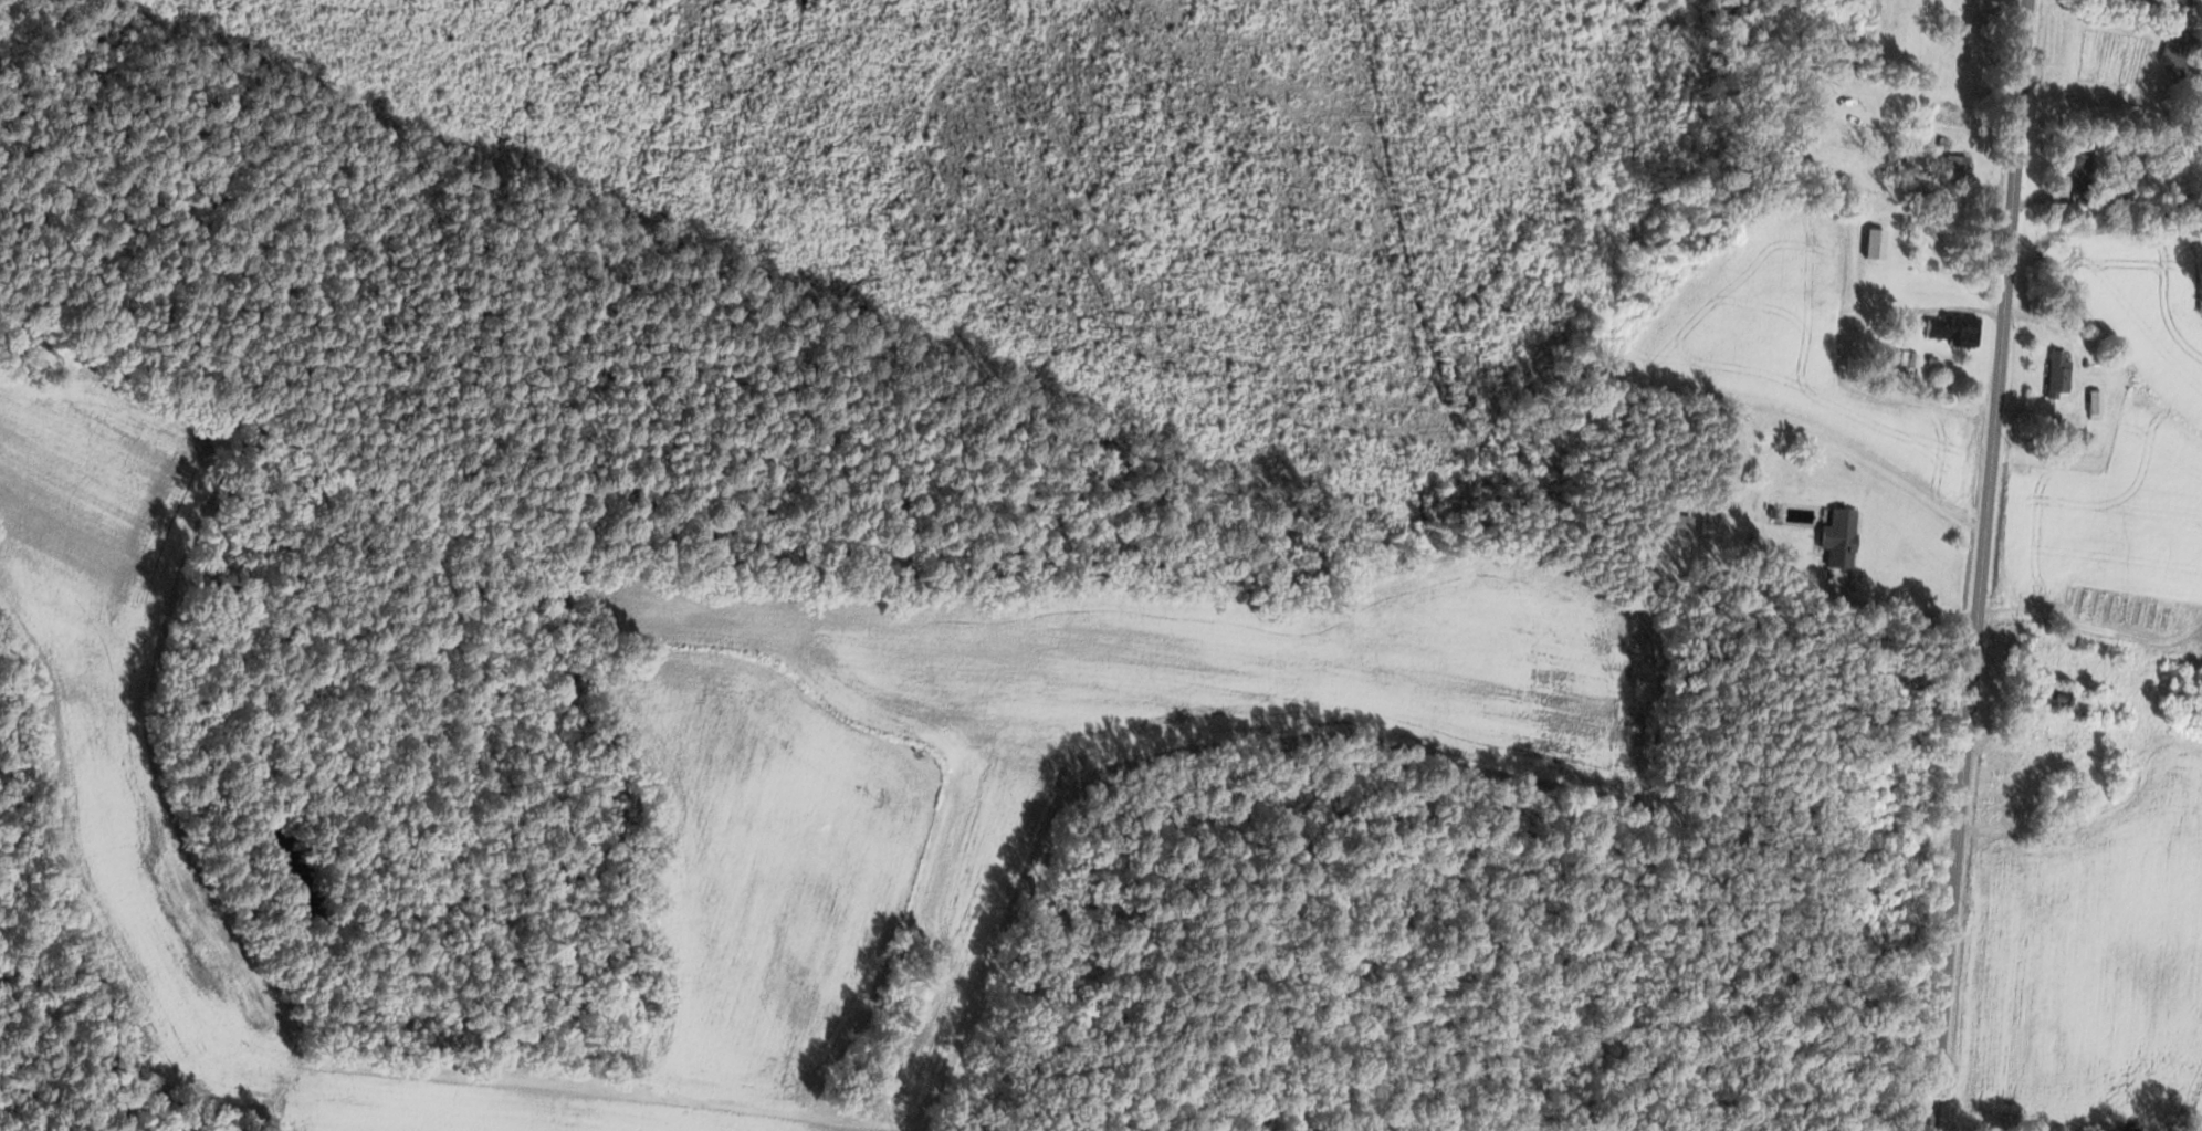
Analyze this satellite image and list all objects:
building: (2178, 2)
building: (2175, 54)
building: (2079, 165)
building: (1951, 166)
building: (1871, 245)
building: (1951, 332)
building: (1902, 363)
building: (2055, 376)
building: (2093, 406)
building: (1707, 524)
building: (1676, 527)
building: (1836, 540)
road: (1980, 565)
building: (2061, 700)

